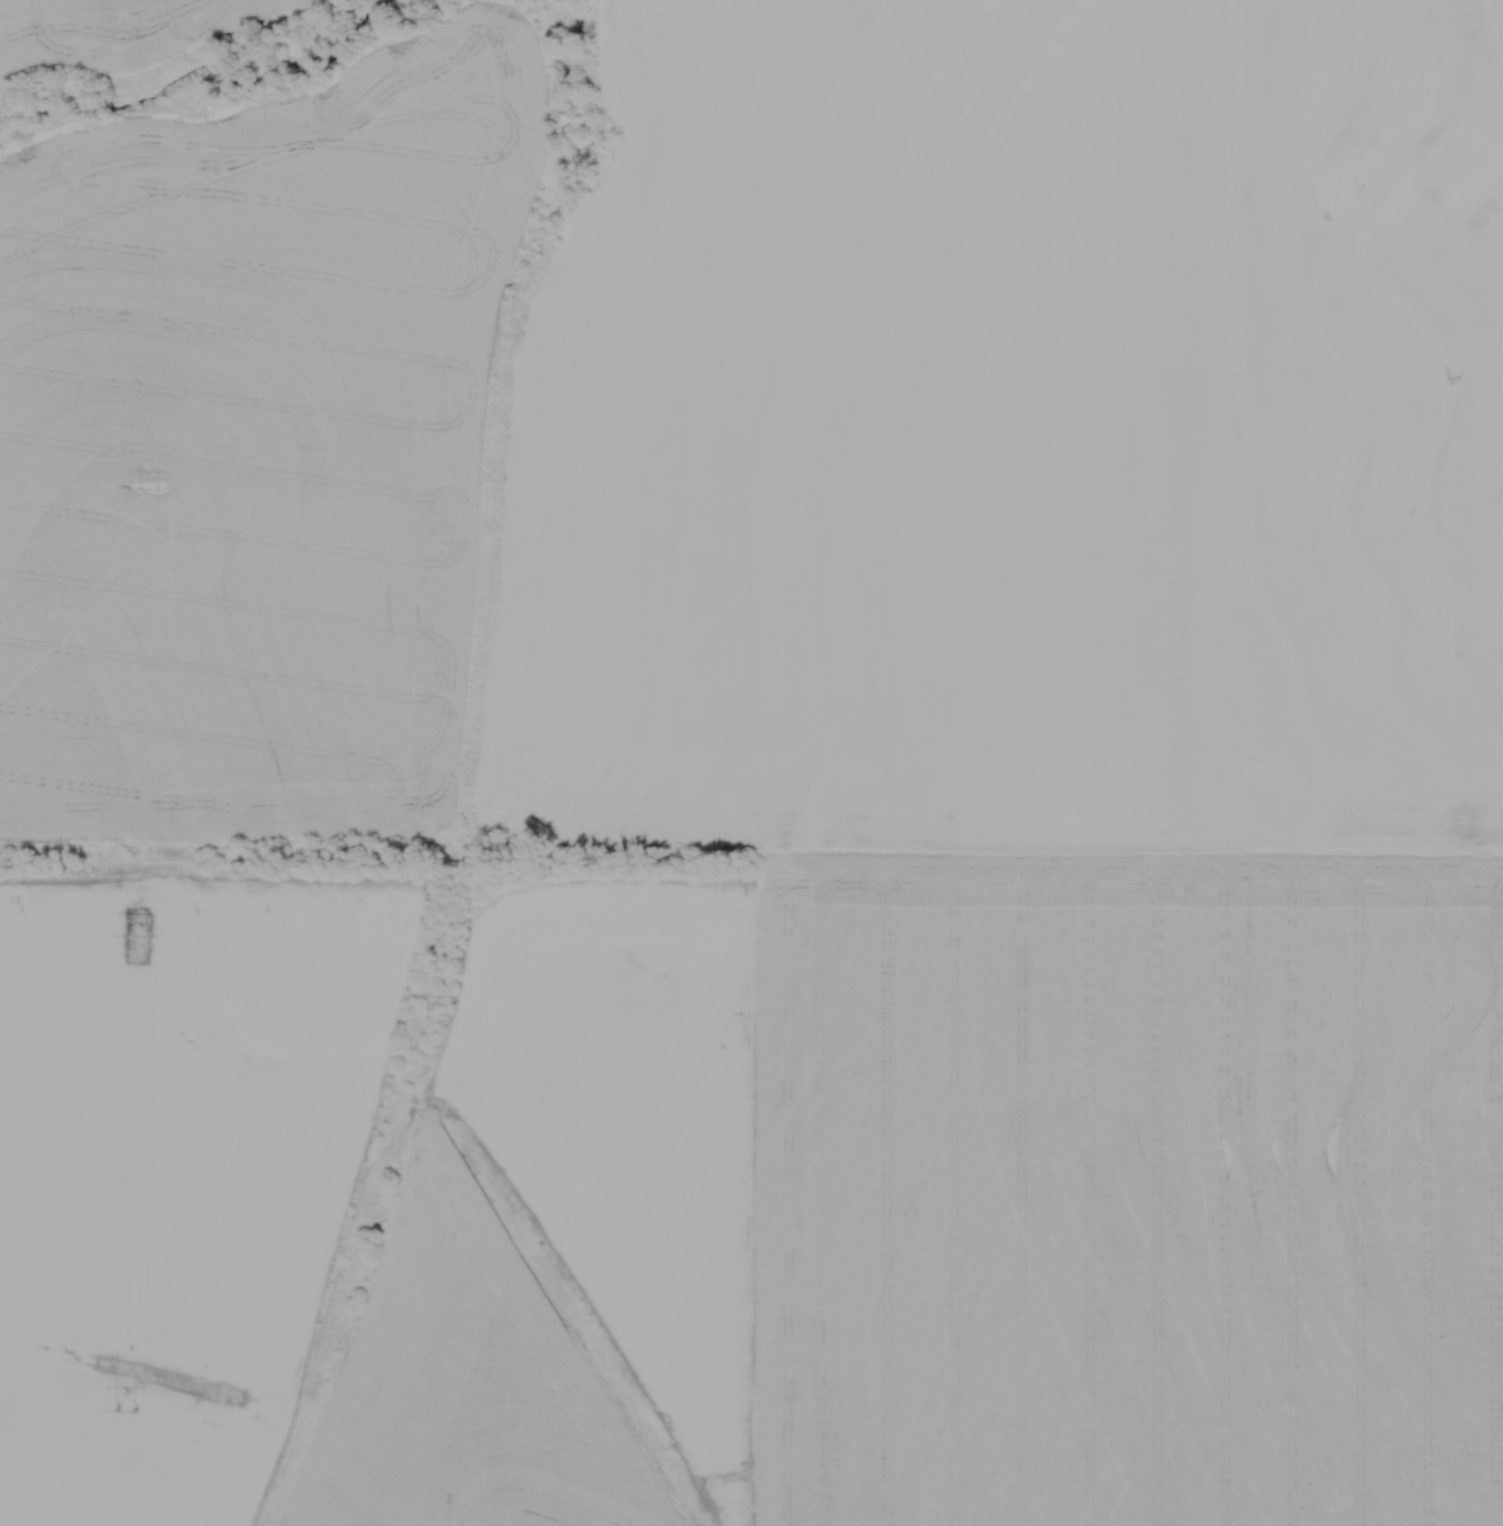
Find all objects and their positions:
power tower: (149, 489)
power tower: (140, 934)
power tower: (129, 1411)

